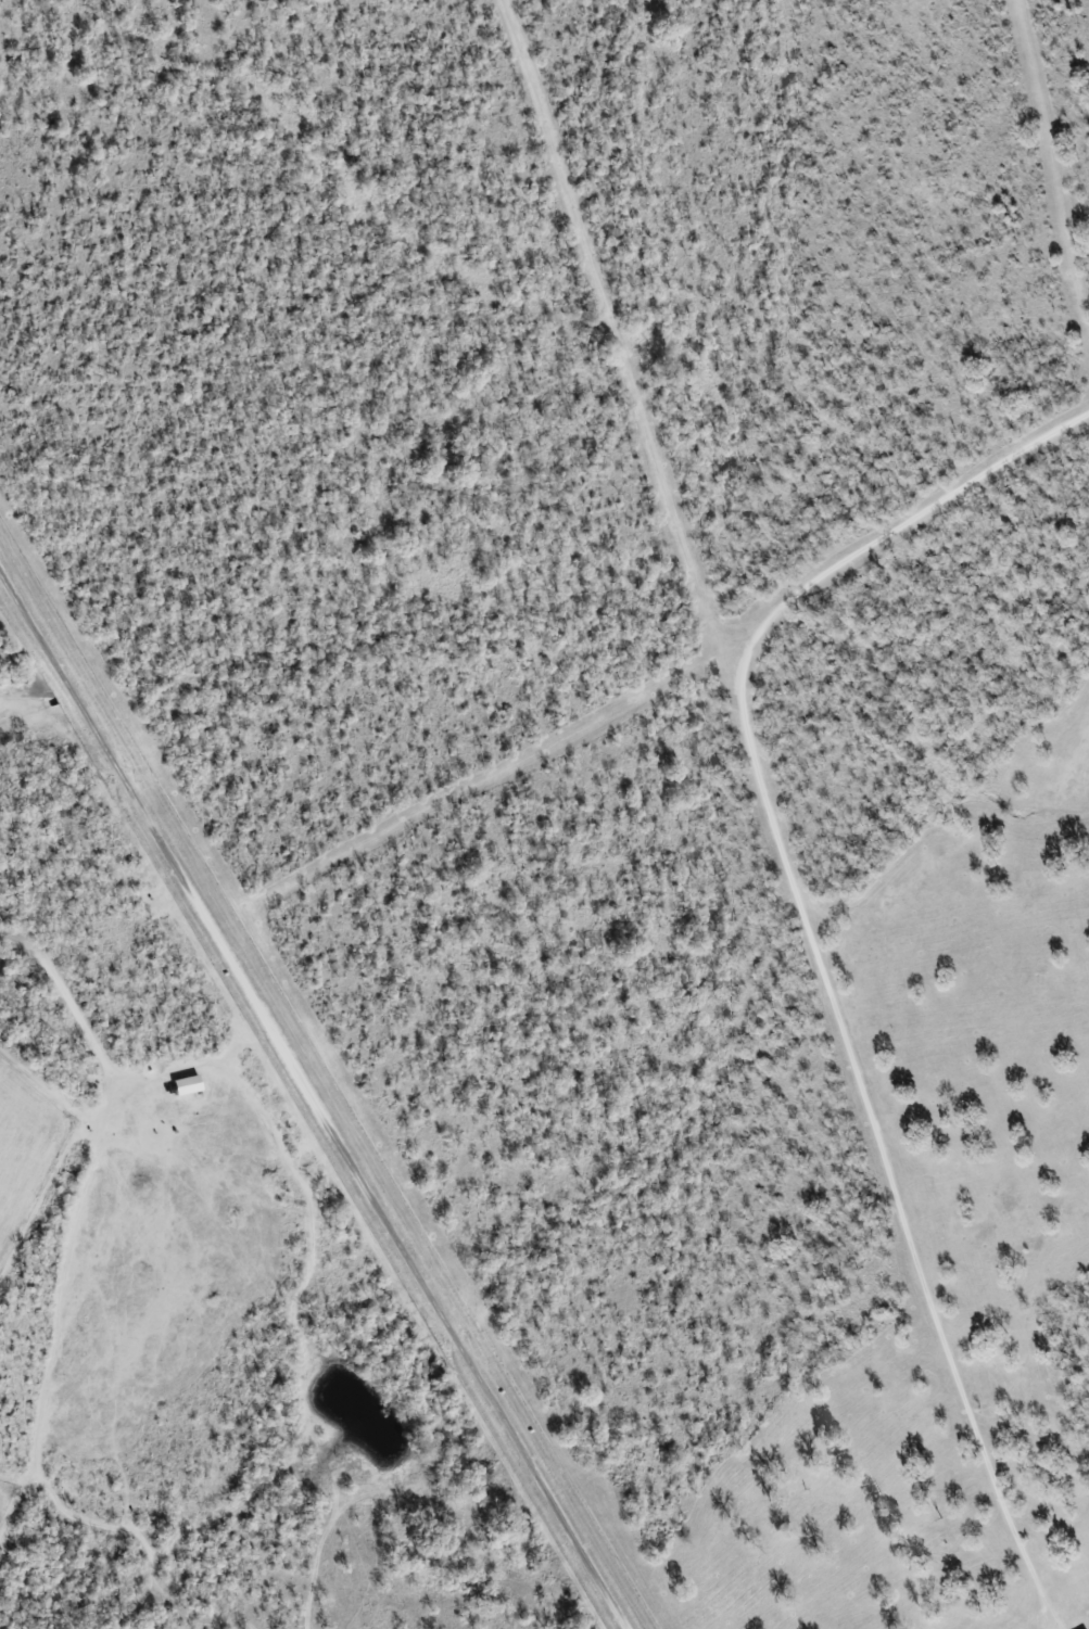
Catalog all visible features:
road: (816, 949)
road: (317, 1100)

